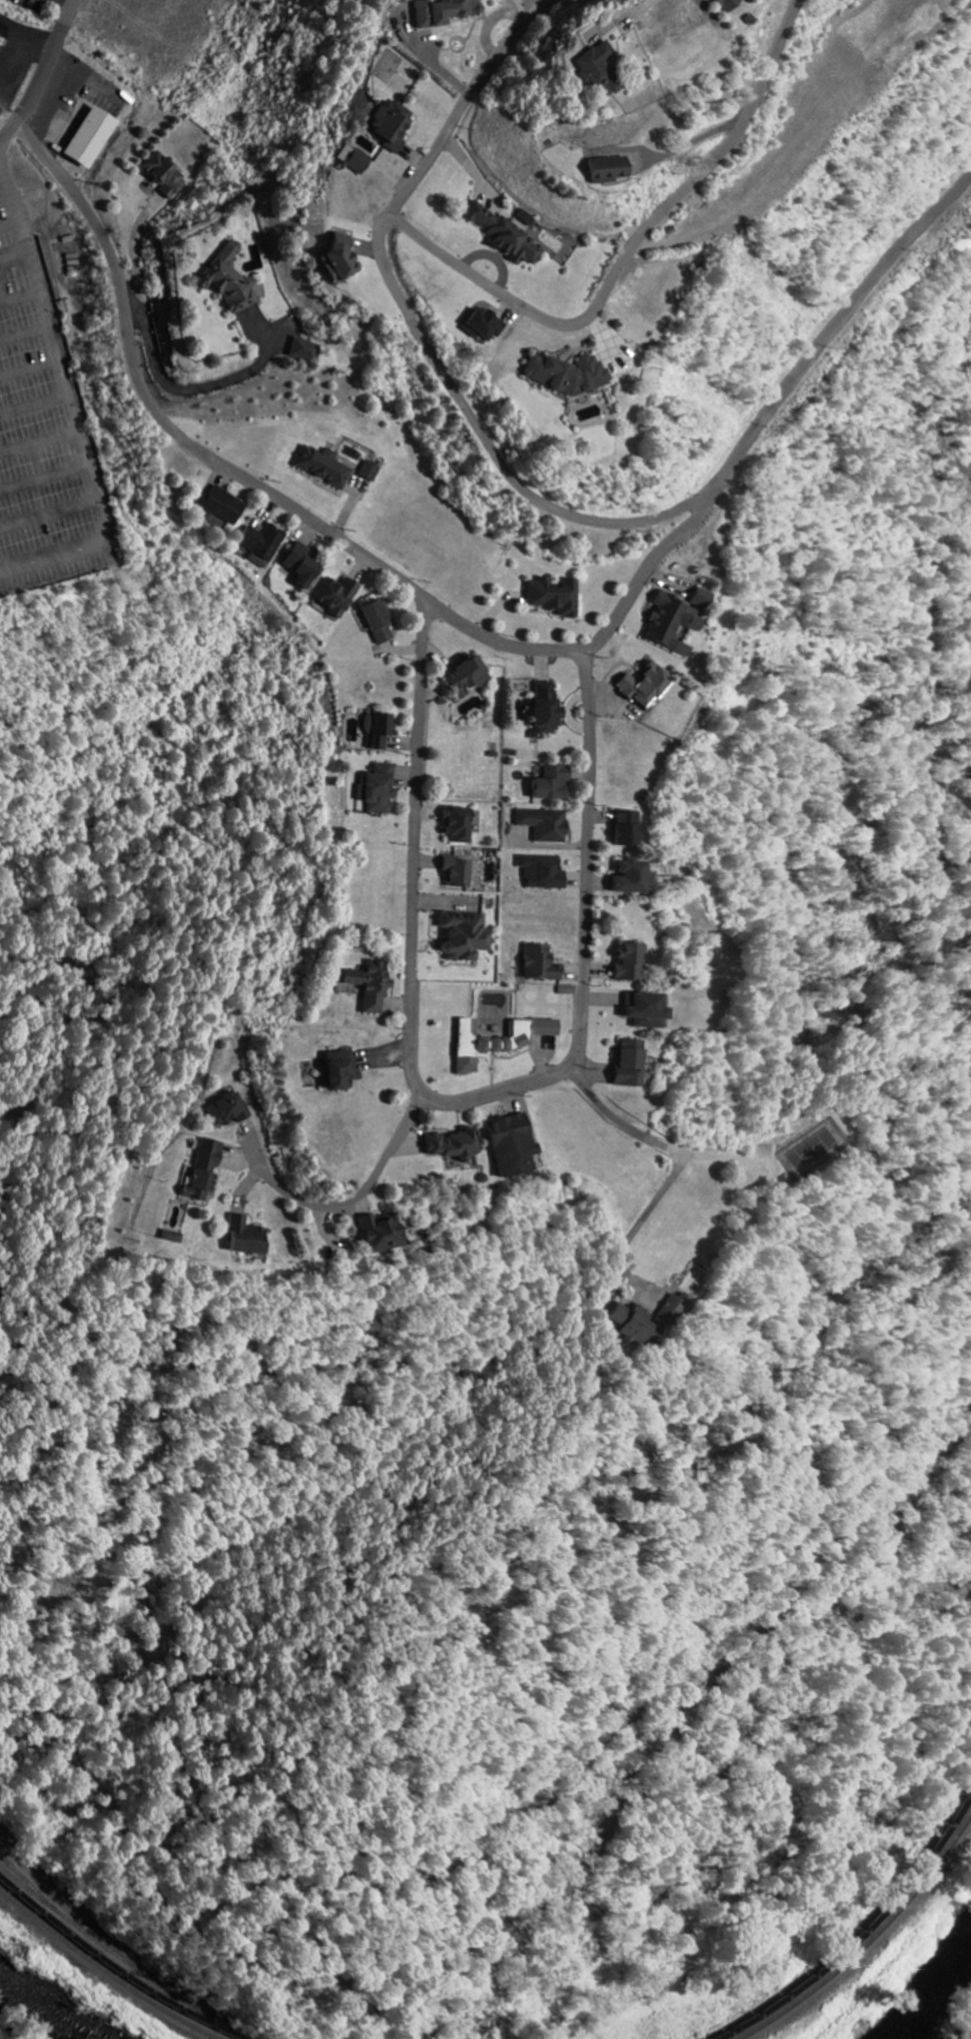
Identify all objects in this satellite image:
building: (734, 3)
building: (444, 11)
building: (2, 42)
building: (605, 63)
road: (49, 64)
road: (466, 105)
building: (393, 125)
road: (8, 136)
building: (92, 137)
building: (354, 159)
building: (613, 168)
building: (165, 175)
building: (505, 234)
road: (630, 253)
building: (341, 261)
building: (231, 280)
building: (484, 325)
building: (305, 351)
building: (568, 375)
road: (487, 442)
building: (324, 466)
building: (371, 471)
building: (224, 505)
building: (263, 545)
building: (303, 566)
building: (338, 596)
building: (556, 597)
building: (702, 599)
building: (380, 621)
building: (674, 623)
road: (481, 632)
building: (469, 677)
building: (647, 687)
building: (548, 709)
building: (379, 731)
building: (554, 784)
building: (379, 789)
building: (546, 825)
building: (459, 826)
building: (628, 829)
building: (544, 872)
building: (461, 873)
building: (466, 936)
building: (542, 964)
building: (631, 964)
building: (372, 986)
building: (647, 1011)
building: (500, 1042)
building: (631, 1064)
building: (342, 1070)
road: (585, 1091)
road: (462, 1101)
building: (228, 1111)
building: (454, 1145)
building: (513, 1146)
building: (205, 1172)
road: (354, 1199)
building: (382, 1234)
building: (172, 1238)
building: (248, 1238)
railway: (864, 1934)
railway: (869, 1942)
railway: (114, 1966)
railway: (103, 1970)
river: (937, 2002)
river: (41, 2009)

